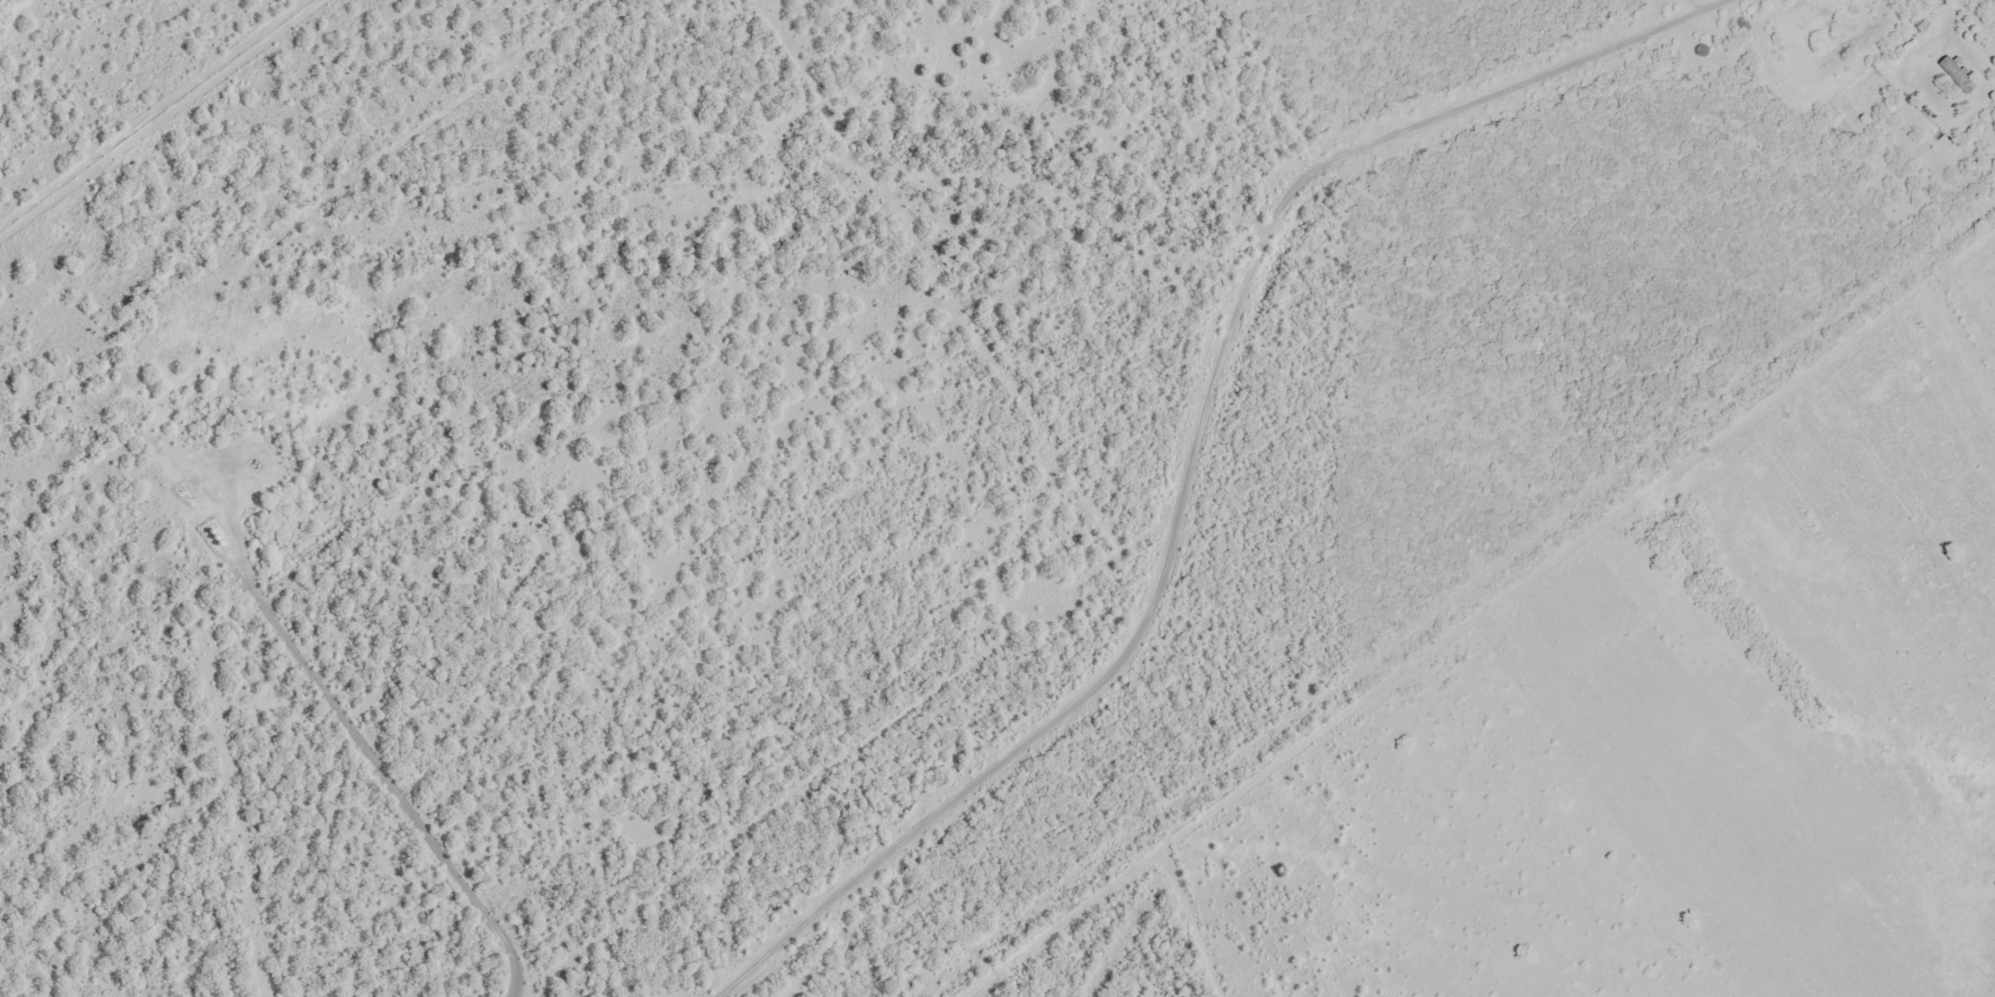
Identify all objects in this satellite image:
building: (1954, 69)
road: (1197, 450)

